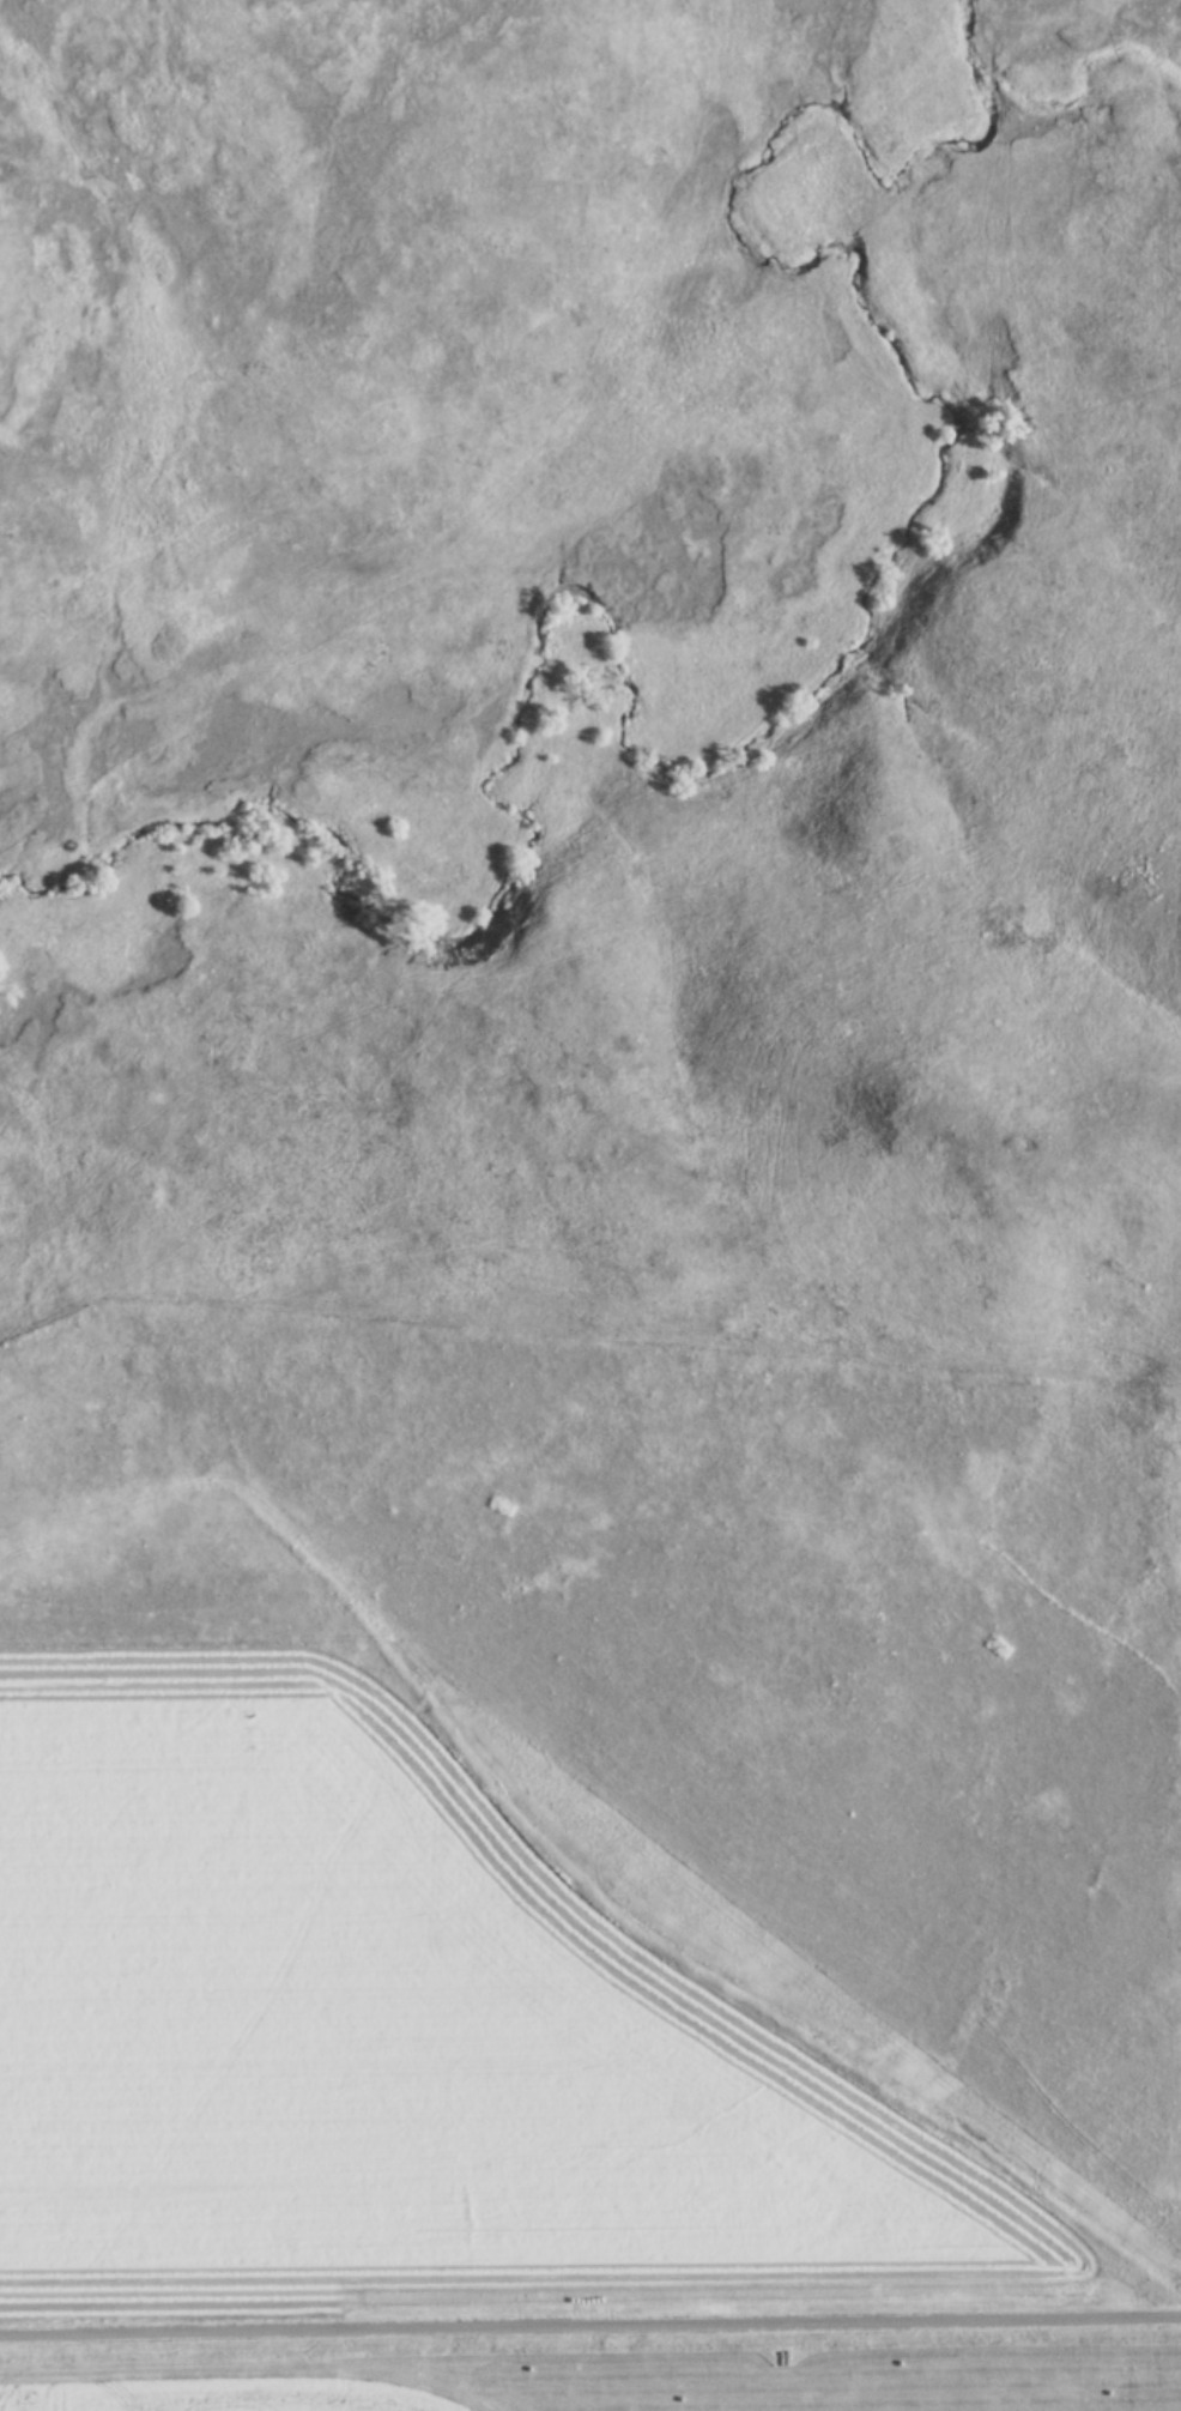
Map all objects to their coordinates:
crop: (395, 2042)
road: (590, 2326)

